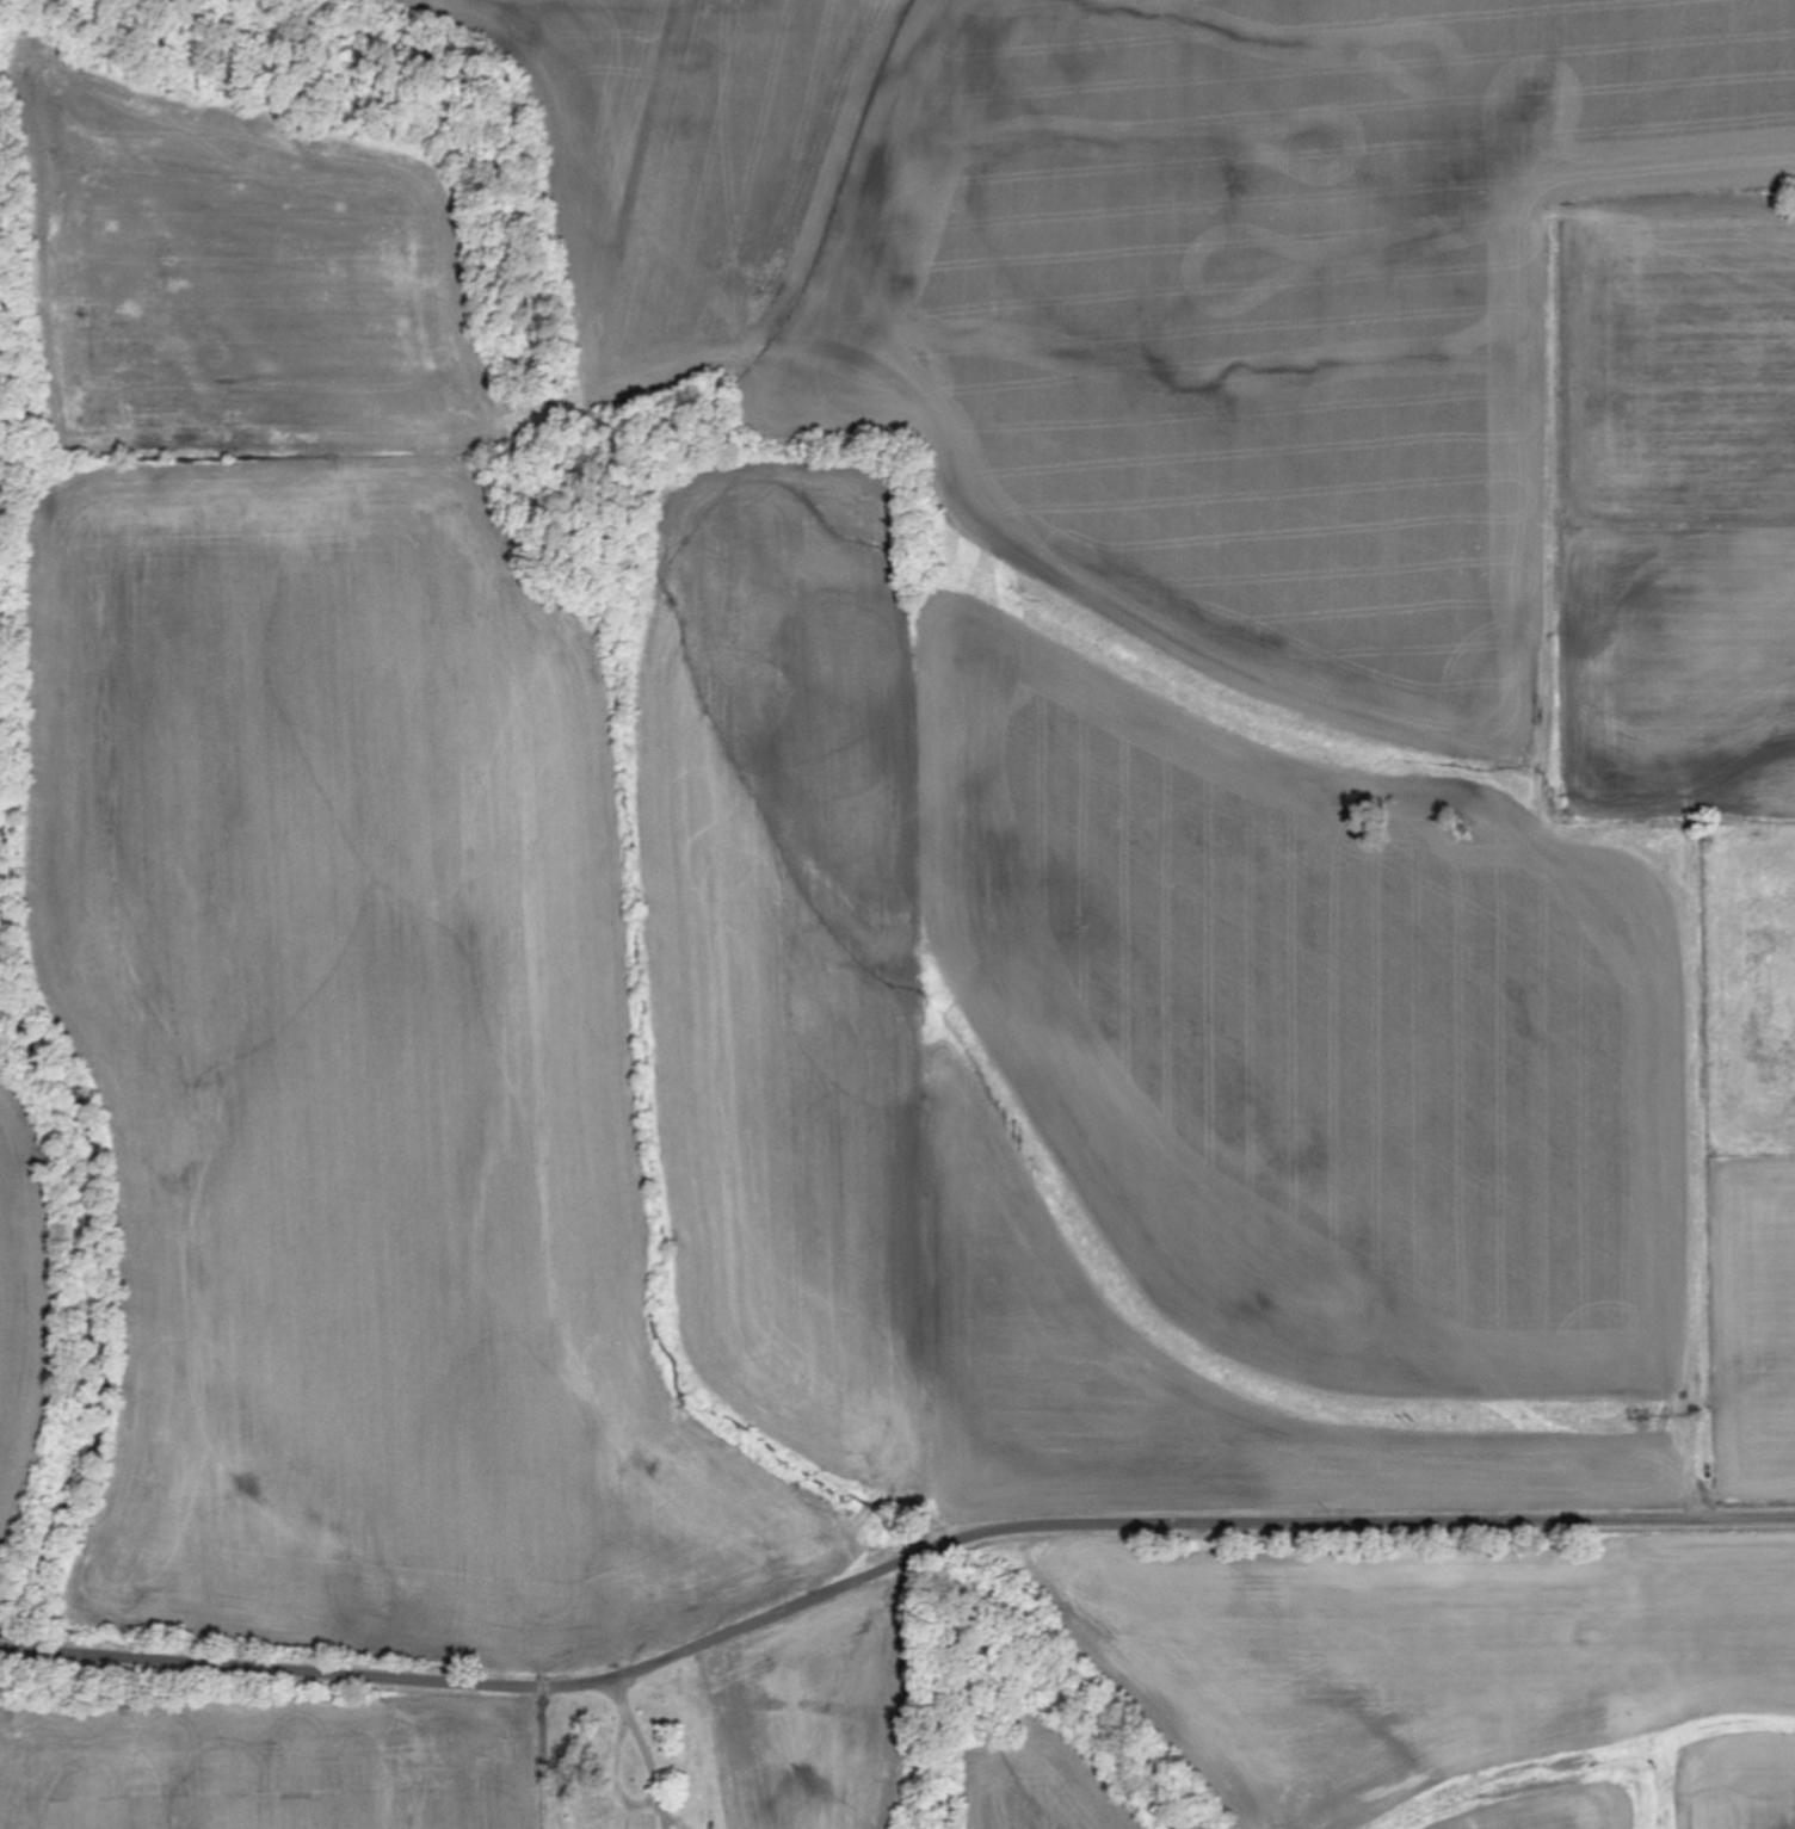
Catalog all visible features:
road: (889, 1567)

